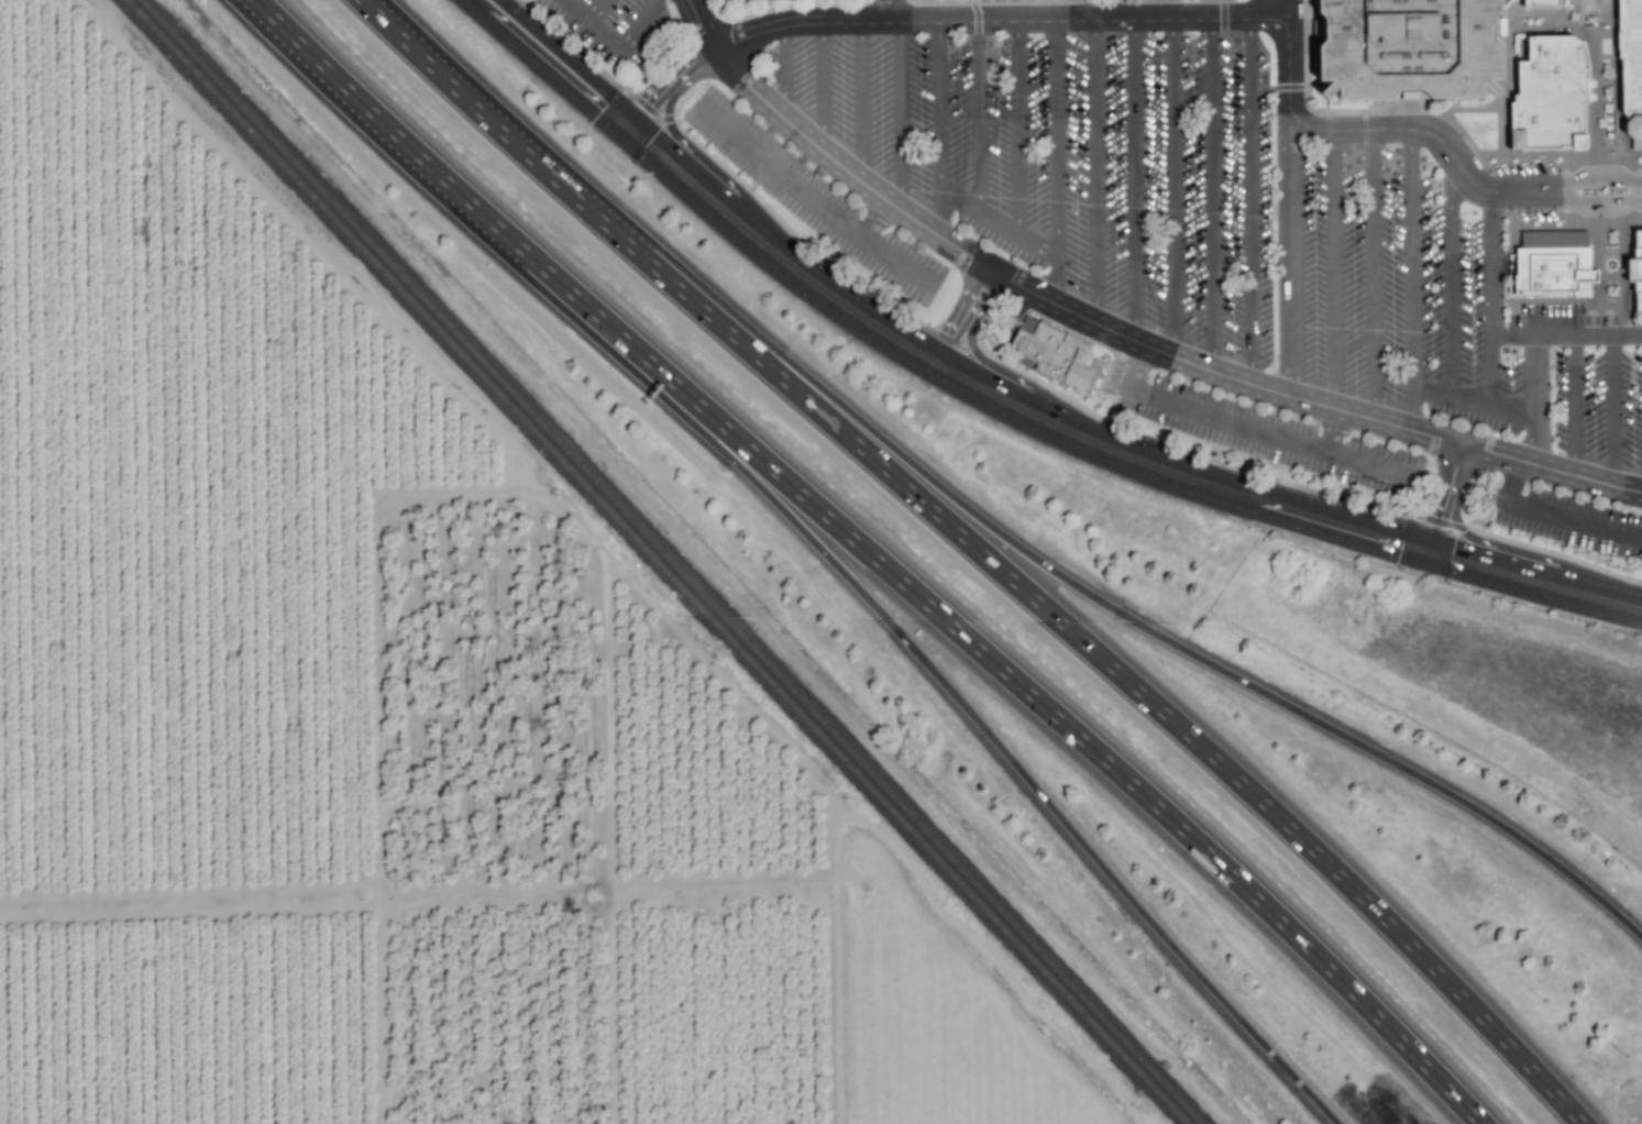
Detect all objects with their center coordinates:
road: (477, 3)
building: (1535, 3)
road: (596, 9)
road: (889, 10)
road: (1231, 20)
road: (595, 24)
road: (643, 24)
road: (699, 24)
building: (1397, 48)
building: (1628, 69)
road: (546, 70)
road: (782, 70)
road: (822, 86)
road: (669, 92)
building: (1544, 98)
road: (860, 99)
road: (899, 113)
road: (978, 118)
road: (1016, 128)
road: (938, 129)
road: (1056, 163)
road: (1095, 173)
road: (1134, 179)
road: (1171, 188)
road: (1210, 195)
road: (808, 197)
road: (1249, 202)
road: (877, 219)
road: (998, 225)
road: (619, 249)
road: (529, 250)
road: (1600, 250)
road: (1289, 258)
road: (1334, 268)
road: (1374, 274)
road: (1450, 275)
building: (1552, 275)
building: (1635, 276)
road: (1411, 279)
road: (1490, 298)
road: (957, 321)
road: (1565, 335)
road: (1142, 342)
building: (1053, 353)
road: (1133, 373)
road: (1535, 400)
road: (1473, 401)
road: (1573, 406)
road: (993, 411)
road: (1612, 411)
road: (1335, 431)
road: (1281, 437)
road: (1511, 483)
road: (1442, 497)
road: (1574, 521)
railway: (633, 562)
railway: (642, 562)
road: (1534, 578)
road: (1275, 712)
road: (1244, 798)
road: (1149, 803)
road: (1071, 811)

